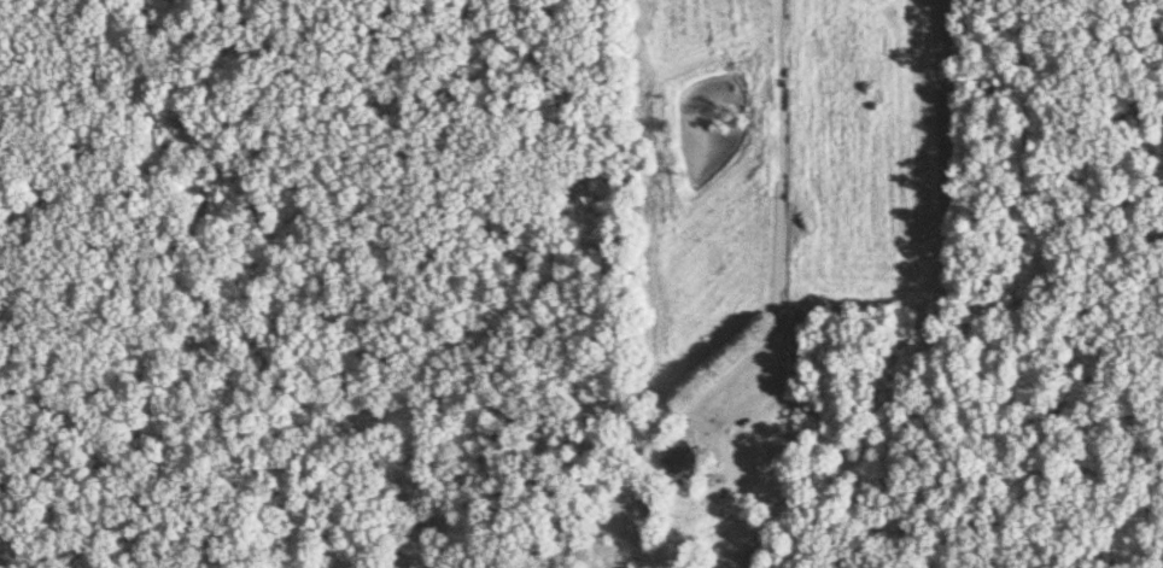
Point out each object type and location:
road: (778, 245)
building: (676, 461)
road: (595, 470)

